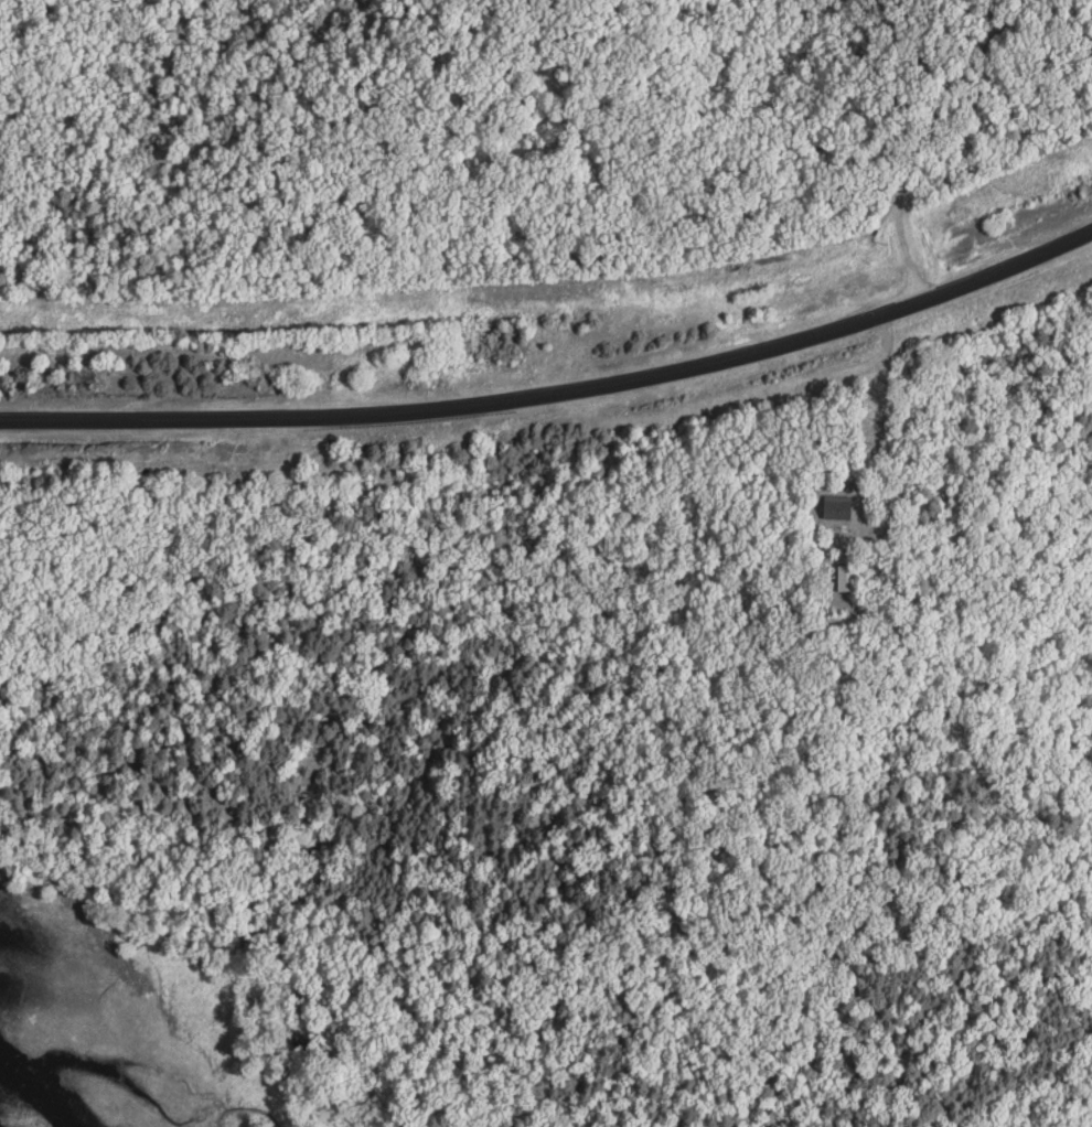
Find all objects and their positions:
road: (559, 391)
building: (839, 507)
building: (849, 578)

